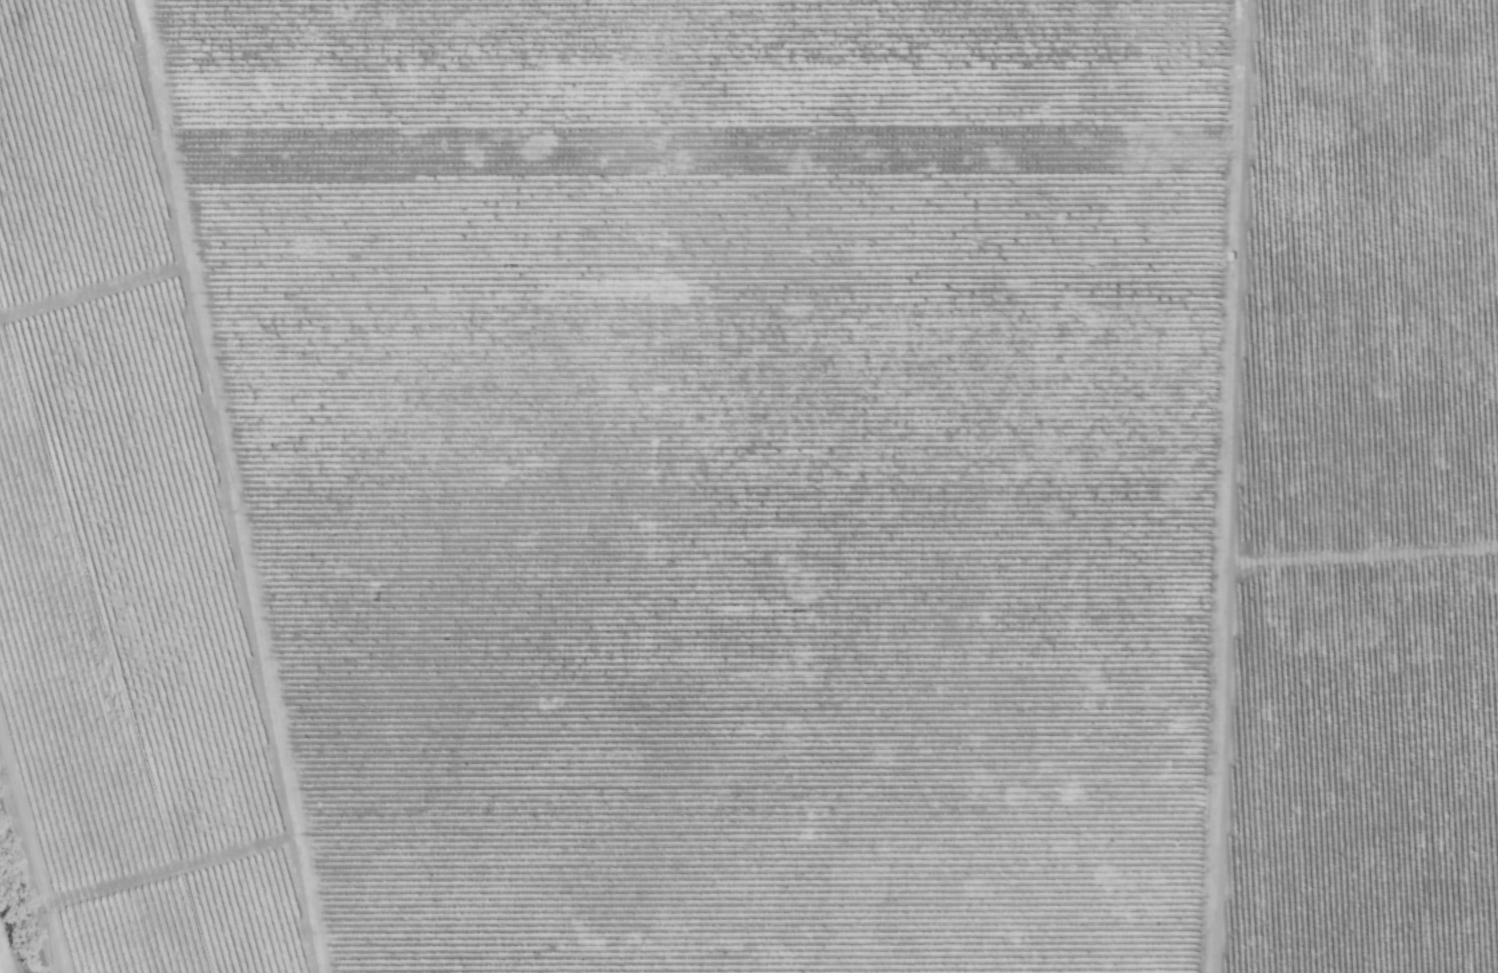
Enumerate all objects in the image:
road: (24, 883)

